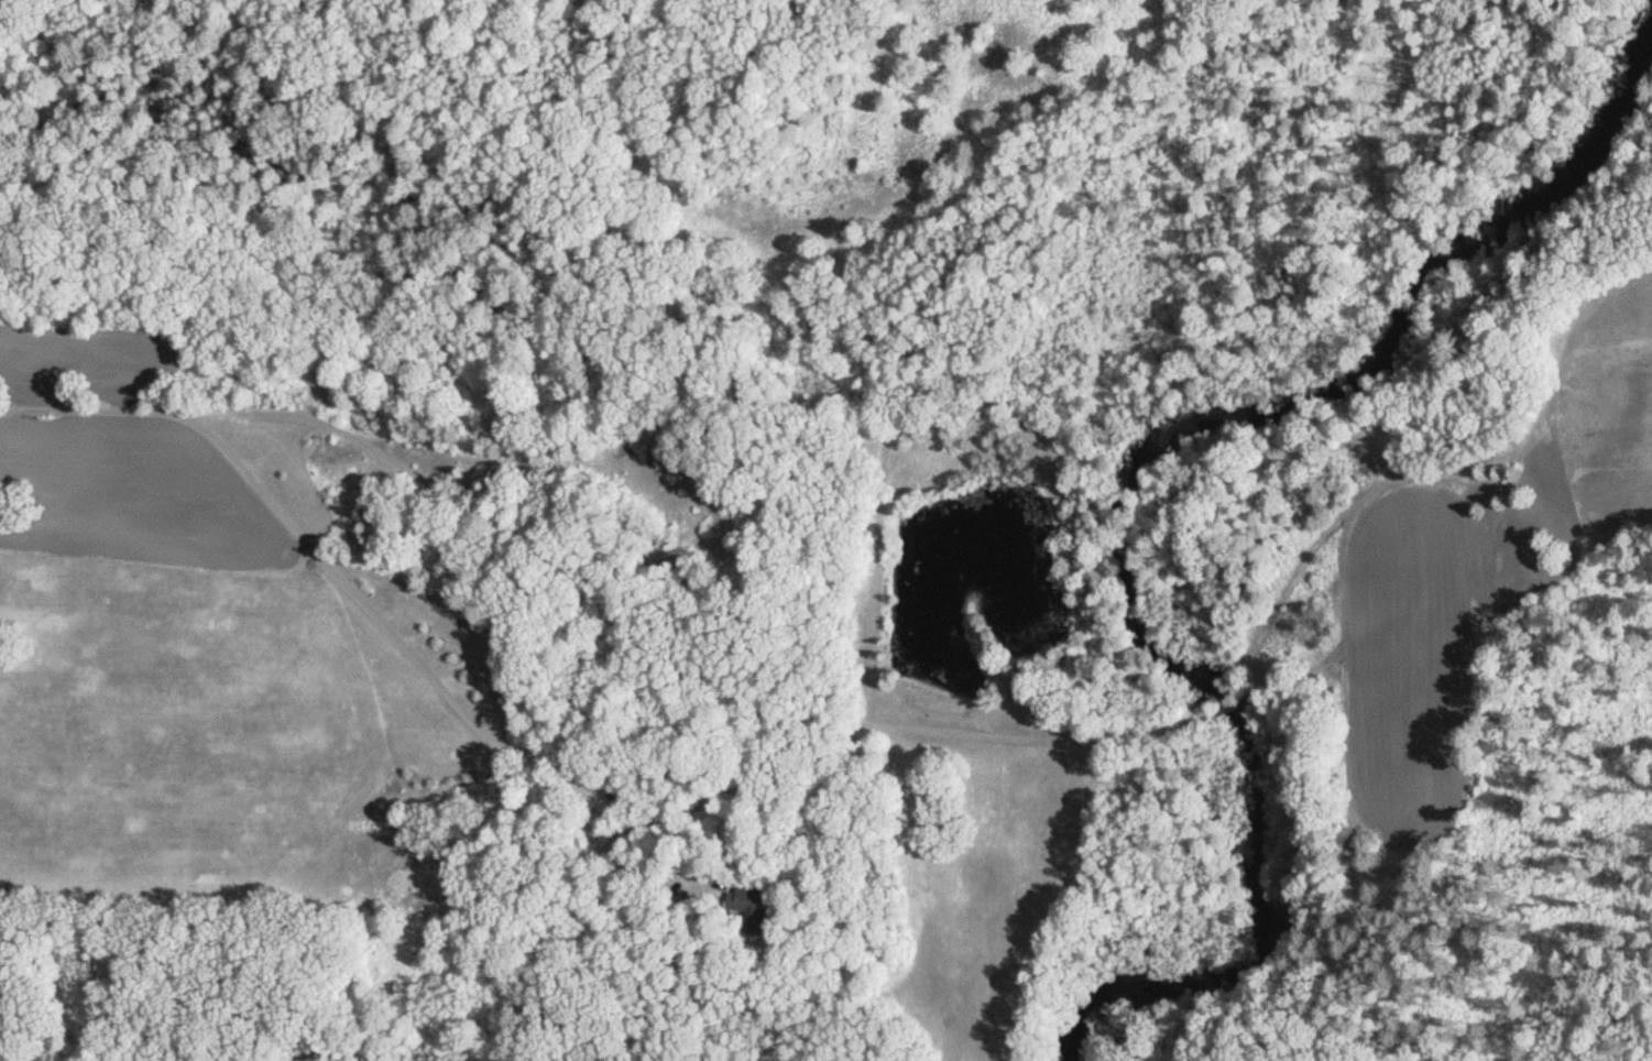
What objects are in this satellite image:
road: (539, 468)
river: (1119, 512)
road: (593, 592)
road: (1272, 685)
road: (1208, 721)

